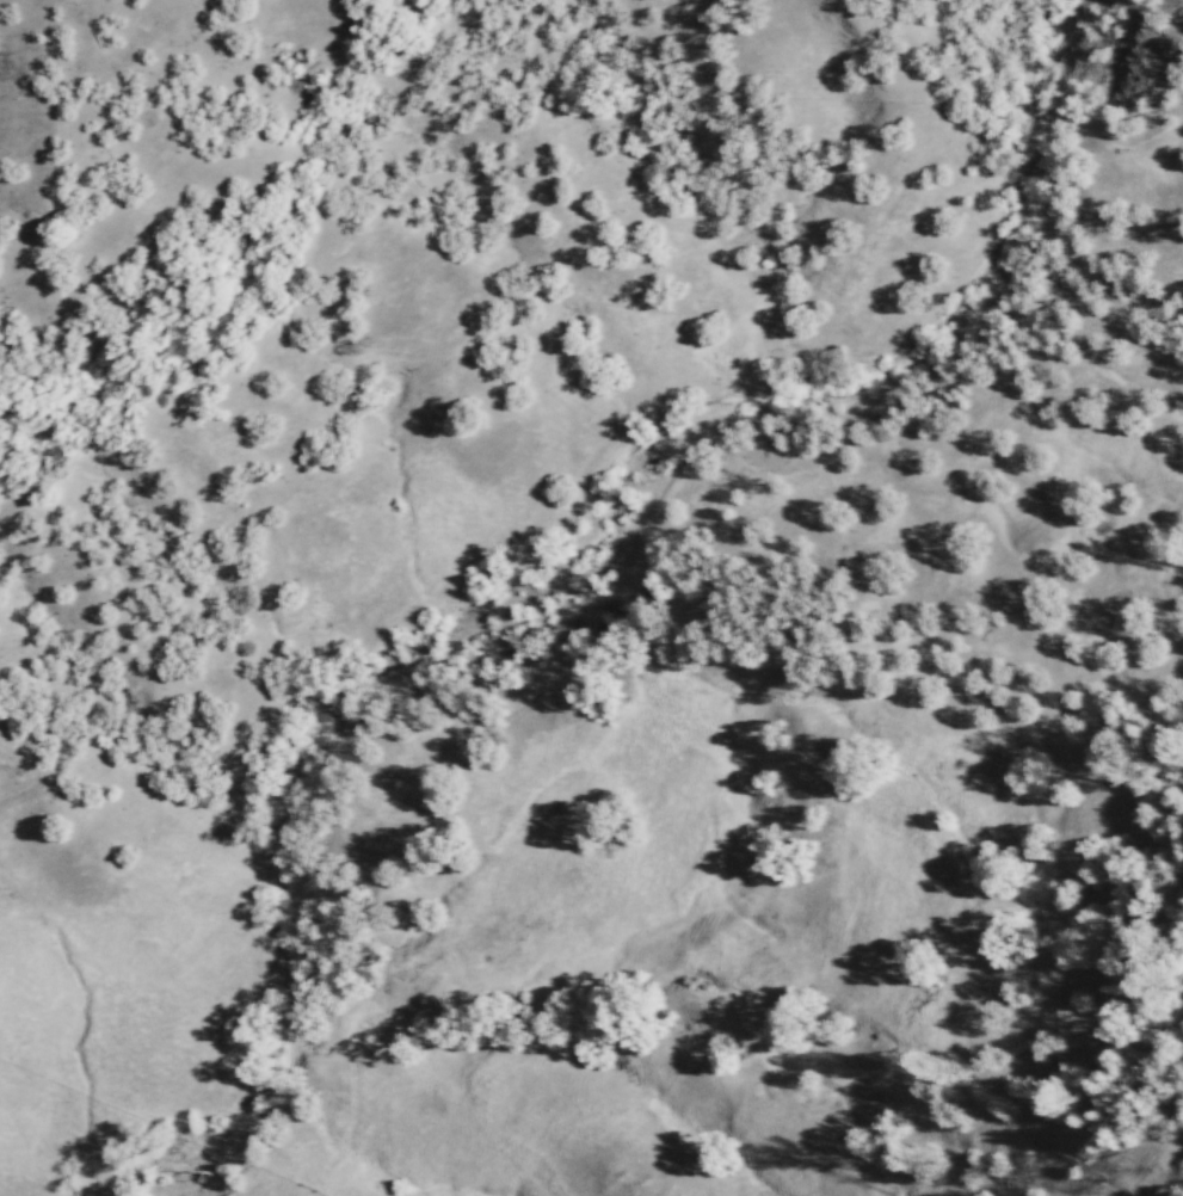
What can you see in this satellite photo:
power tower: (1138, 1179)

